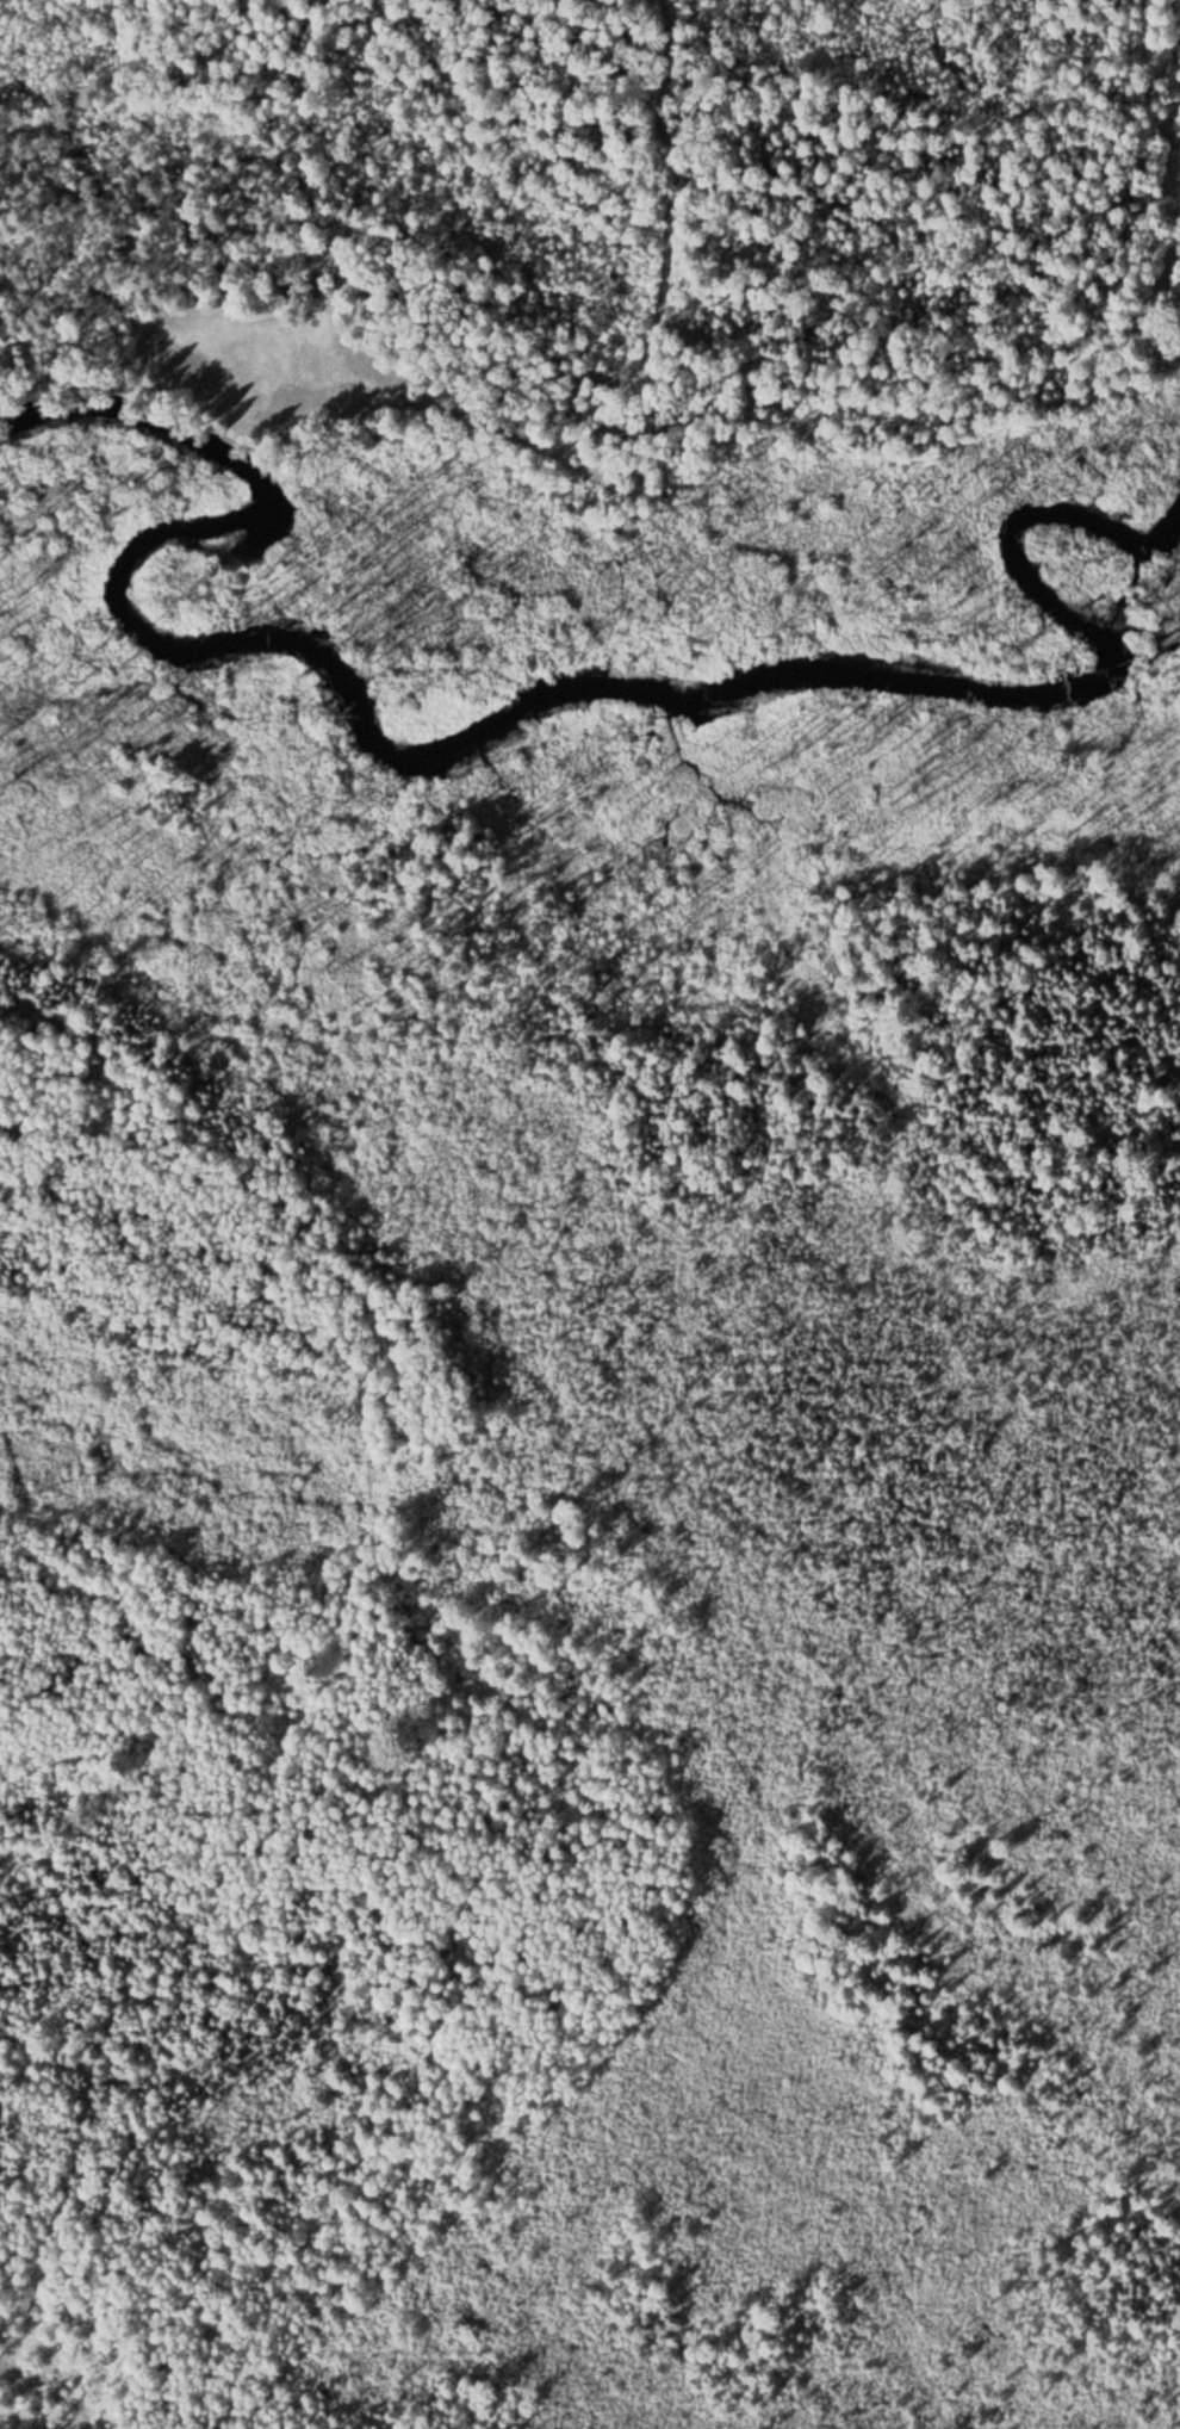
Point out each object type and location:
building: (328, 262)
road: (72, 372)
river: (508, 723)

